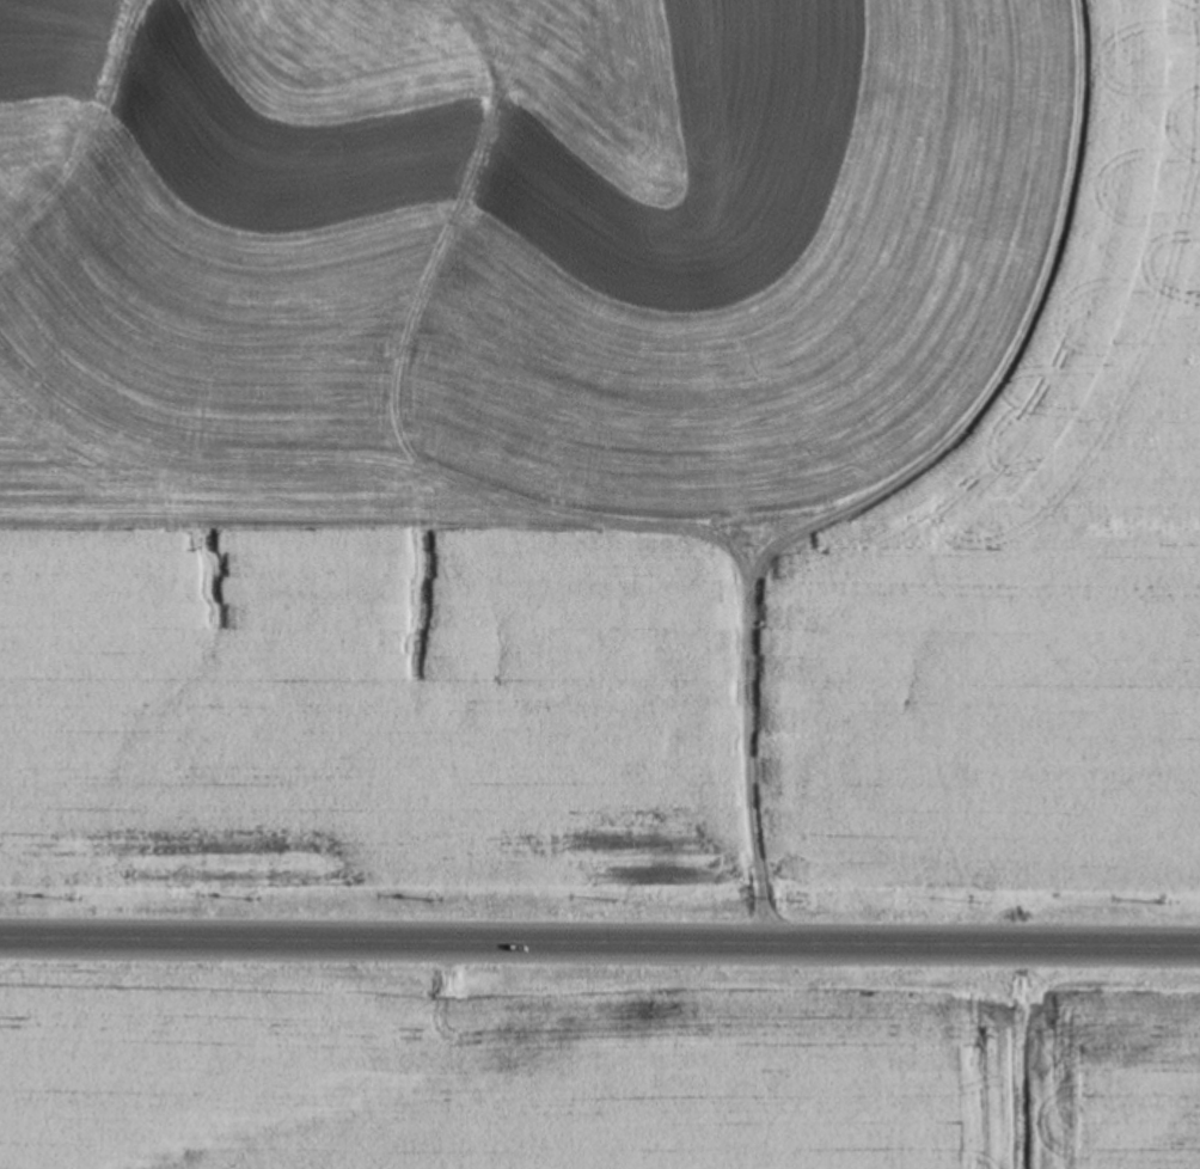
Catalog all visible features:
road: (602, 504)
road: (752, 740)
road: (599, 937)

